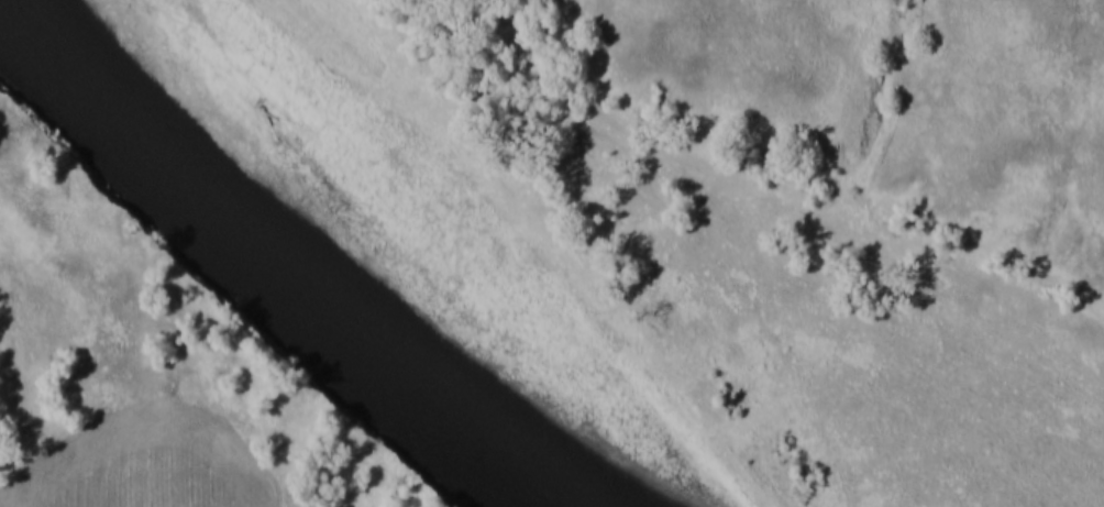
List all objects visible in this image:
river: (367, 253)

